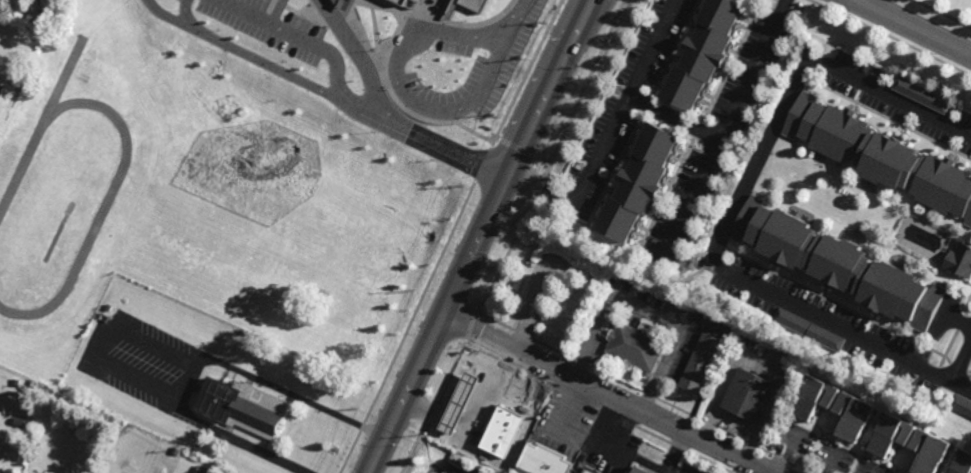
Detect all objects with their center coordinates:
building: (403, 1)
building: (476, 4)
road: (518, 17)
road: (334, 20)
road: (914, 27)
road: (234, 49)
building: (703, 53)
road: (367, 75)
building: (1, 89)
road: (401, 91)
building: (4, 92)
building: (920, 94)
road: (349, 104)
road: (727, 115)
road: (608, 136)
road: (438, 145)
building: (880, 155)
track: (119, 173)
building: (640, 182)
road: (737, 198)
road: (686, 201)
road: (478, 235)
building: (959, 258)
building: (839, 262)
building: (544, 280)
road: (649, 309)
road: (957, 322)
road: (117, 327)
building: (808, 327)
building: (636, 344)
road: (960, 359)
building: (701, 361)
road: (480, 364)
building: (16, 381)
road: (960, 386)
building: (459, 394)
road: (607, 394)
building: (748, 394)
road: (461, 395)
building: (812, 396)
building: (960, 403)
building: (241, 405)
building: (851, 414)
road: (433, 417)
road: (595, 419)
building: (487, 420)
building: (19, 421)
road: (623, 432)
building: (888, 433)
building: (927, 450)
building: (502, 451)
road: (604, 454)
building: (543, 460)
building: (961, 462)
building: (117, 465)
building: (202, 469)
building: (2, 470)
building: (589, 470)
building: (640, 470)

